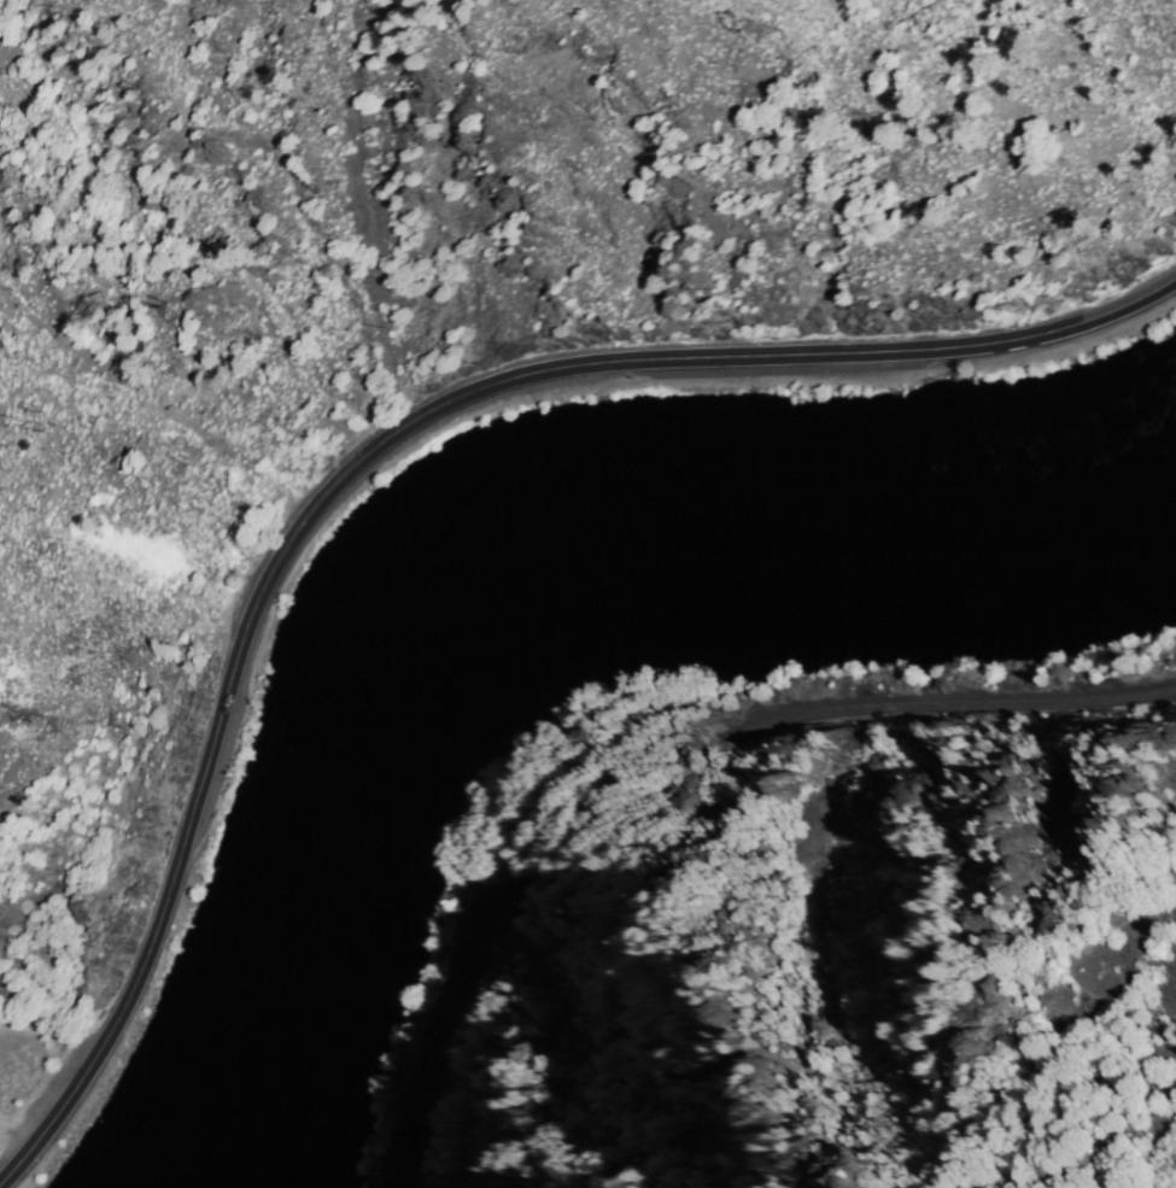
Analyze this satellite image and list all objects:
power tower: (770, 28)
road: (370, 450)
river: (1131, 474)
river: (470, 621)
railway: (946, 704)
power tower: (983, 1009)
railway: (450, 1022)
power tower: (814, 1167)

